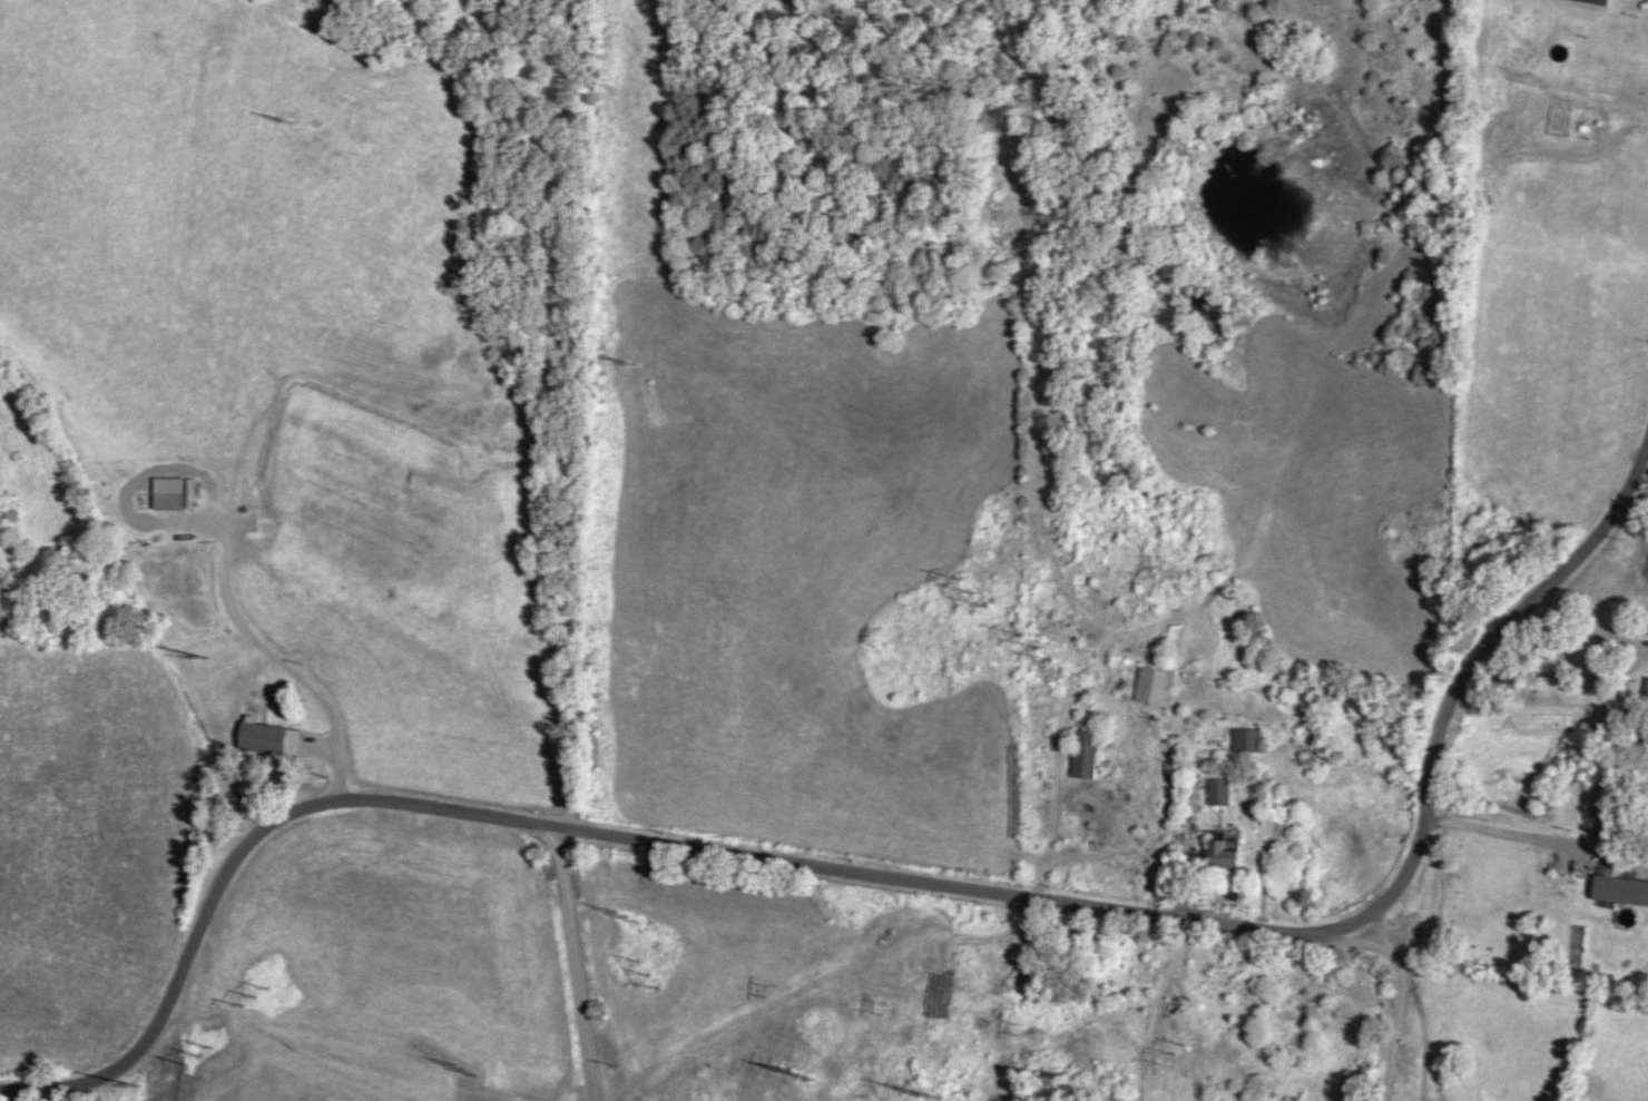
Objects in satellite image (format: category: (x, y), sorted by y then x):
building: (1598, 1)
power tower: (284, 116)
power tower: (628, 362)
building: (168, 499)
power tower: (972, 590)
power tower: (1038, 646)
road: (254, 648)
power tower: (200, 653)
building: (1156, 684)
building: (1646, 688)
building: (265, 736)
building: (1252, 739)
building: (1087, 753)
building: (1220, 790)
road: (1534, 844)
building: (1228, 849)
road: (899, 883)
building: (1620, 887)
power tower: (622, 912)
power tower: (258, 996)
power tower: (200, 1052)
power tower: (465, 1063)
power tower: (798, 1071)
power tower: (133, 1084)
power tower: (923, 1093)

